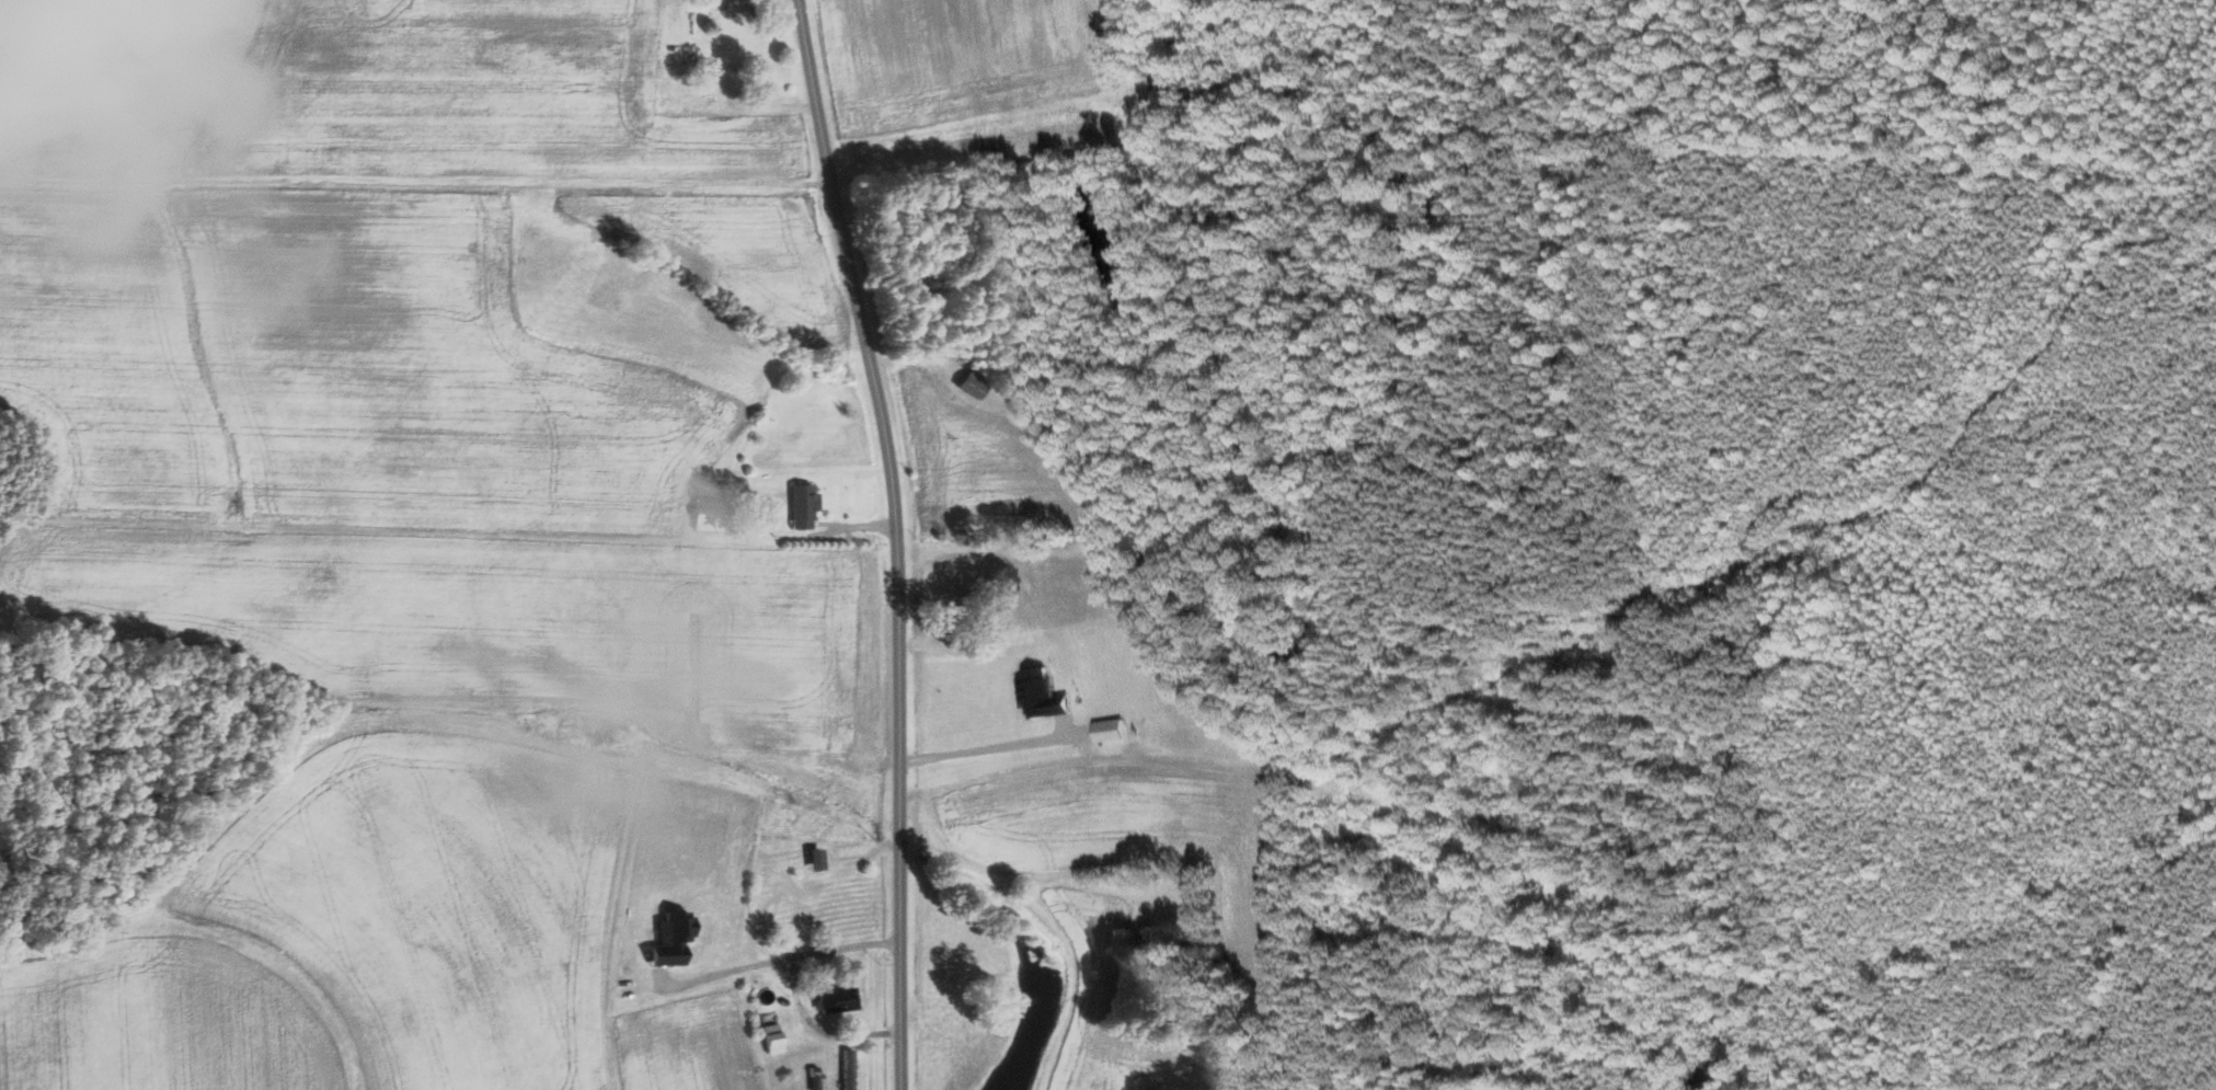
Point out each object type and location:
building: (725, 4)
building: (966, 386)
building: (799, 505)
building: (711, 514)
road: (895, 540)
building: (1032, 691)
road: (1159, 762)
building: (810, 859)
building: (666, 940)
road: (795, 990)
building: (833, 999)
building: (769, 1039)
road: (789, 1056)

